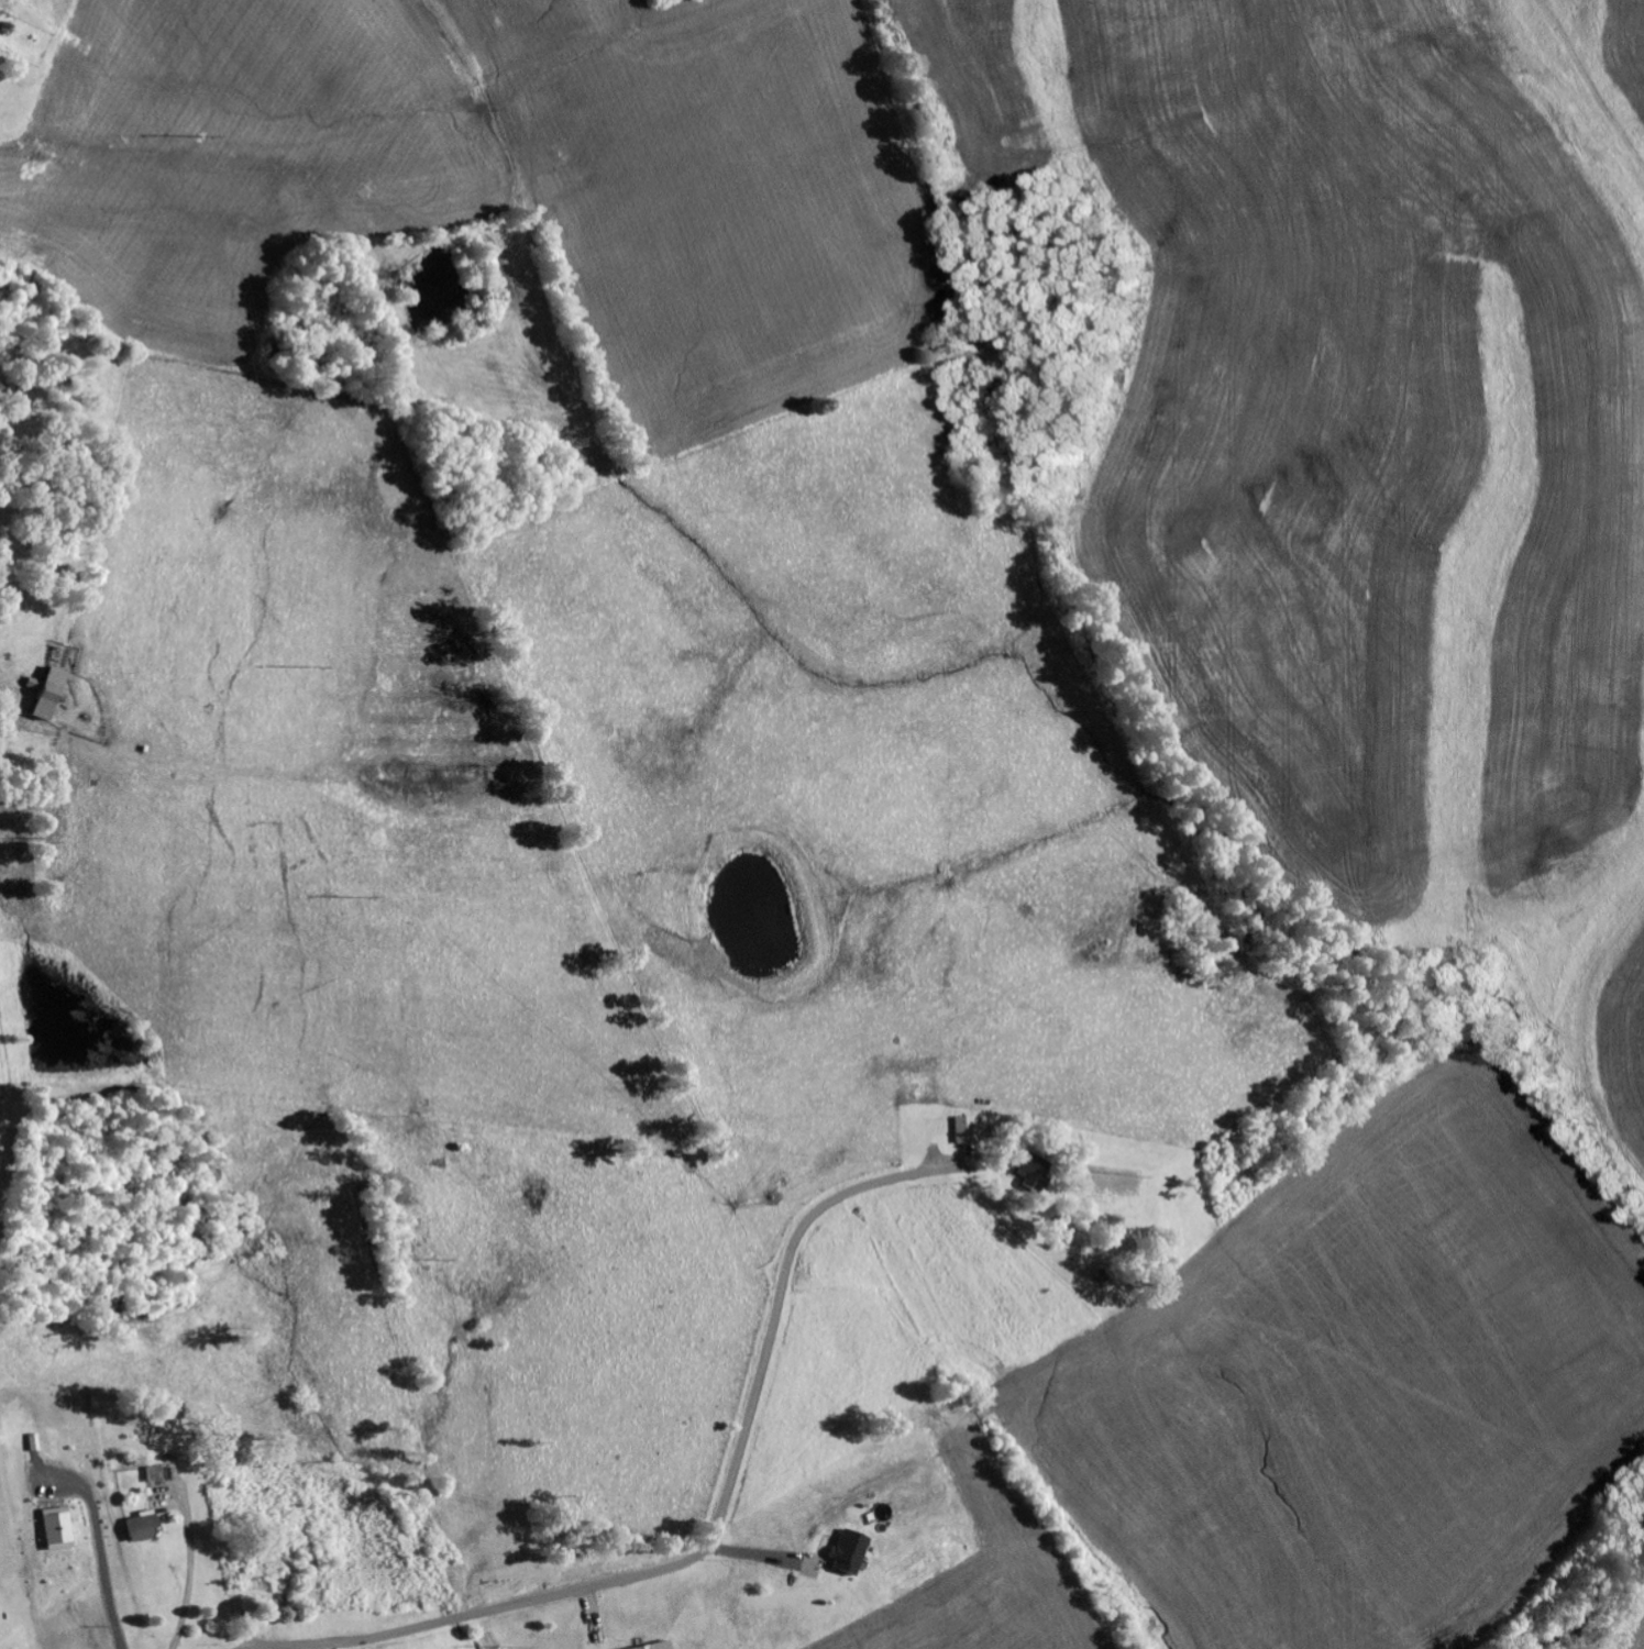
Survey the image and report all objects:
building: (51, 695)
building: (967, 1131)
building: (1037, 1172)
road: (747, 1424)
building: (140, 1526)
building: (55, 1532)
building: (851, 1553)
road: (190, 1570)
road: (102, 1578)
road: (399, 1633)
building: (661, 1646)
road: (317, 1647)

